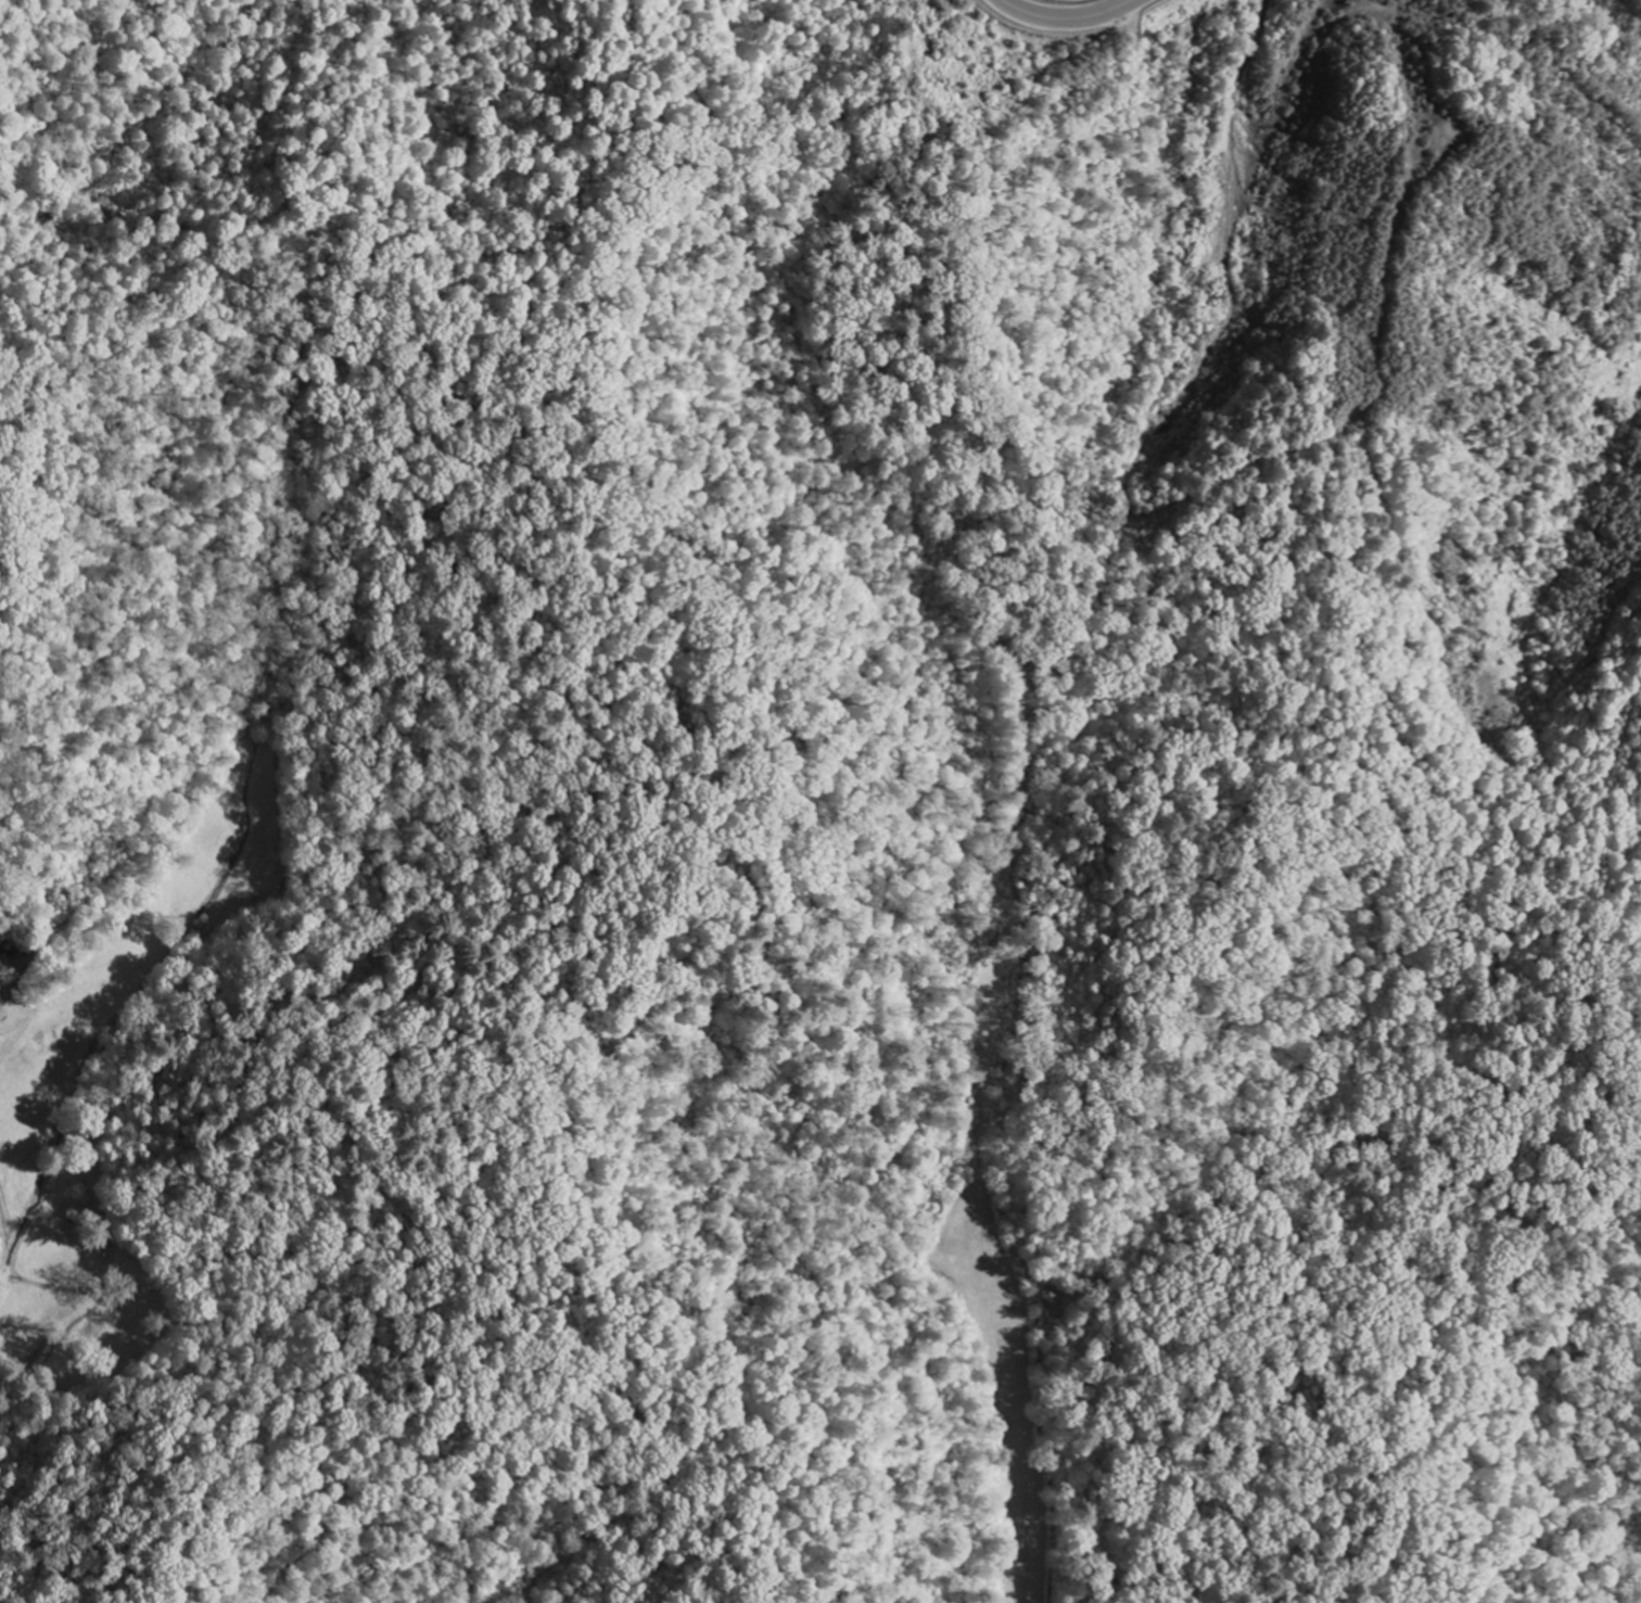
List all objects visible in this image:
road: (1076, 16)
building: (0, 950)

